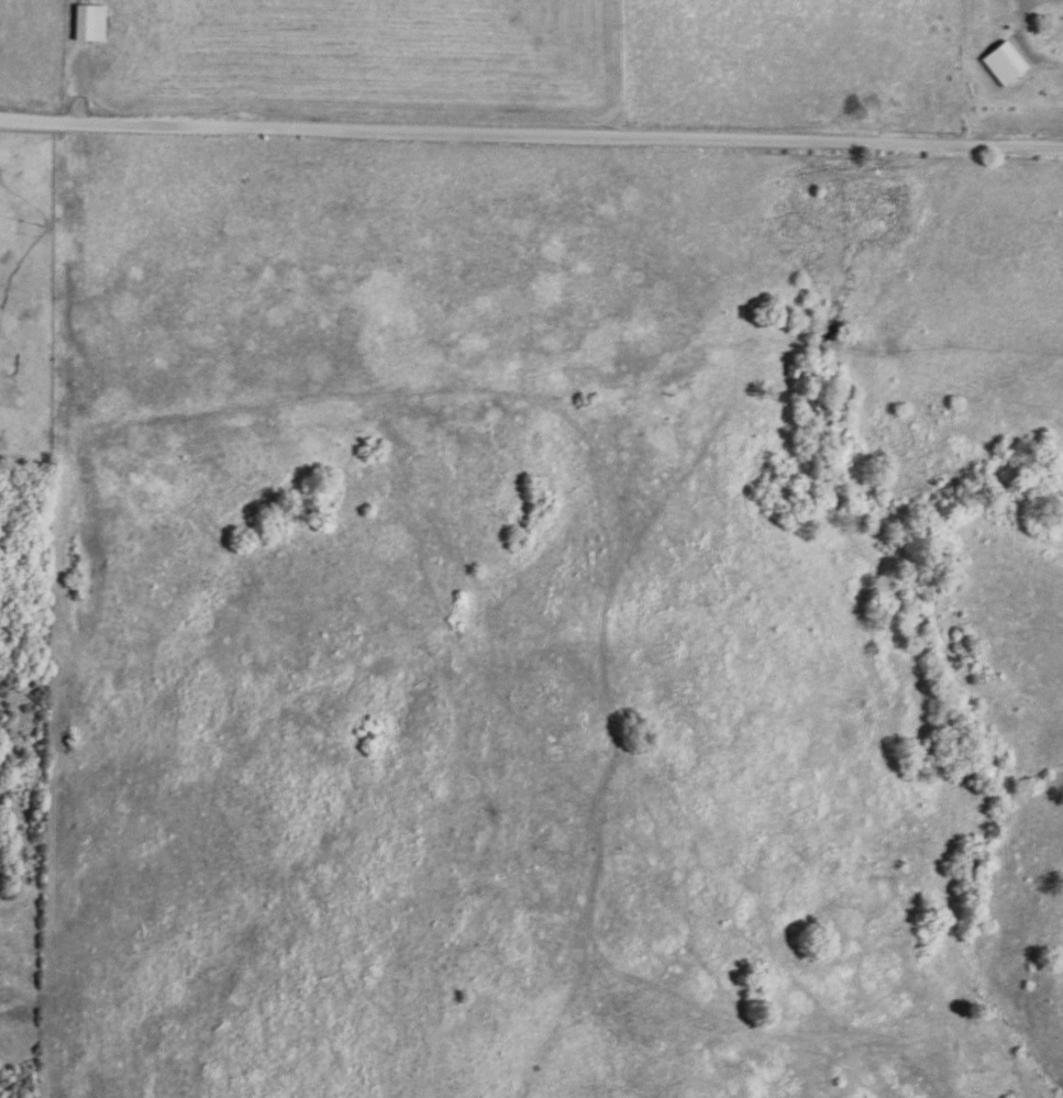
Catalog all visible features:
building: (90, 23)
road: (1019, 32)
building: (1006, 64)
road: (531, 136)

